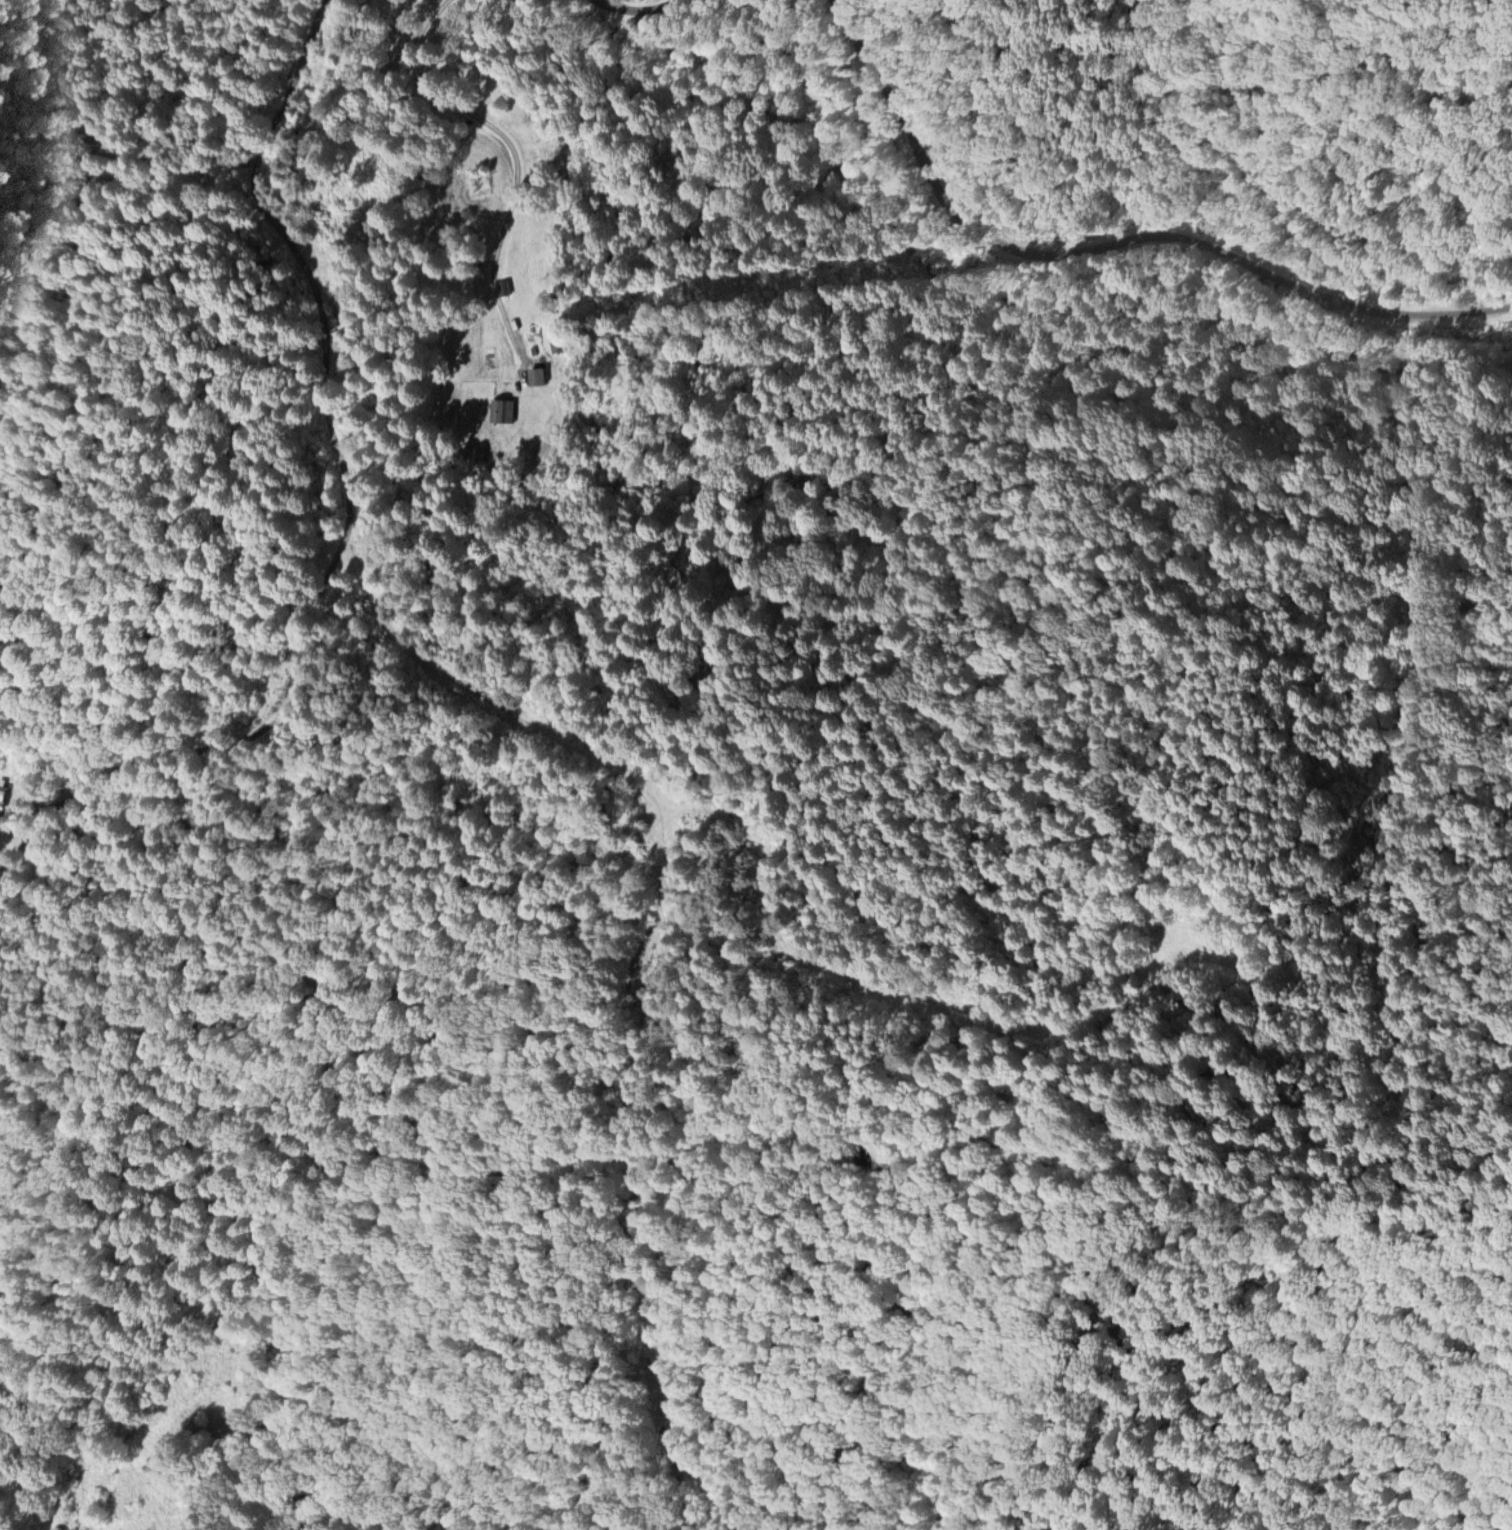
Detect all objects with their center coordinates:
road: (625, 6)
road: (519, 162)
road: (217, 180)
road: (1113, 246)
building: (505, 285)
building: (538, 373)
building: (502, 407)
road: (266, 714)
road: (632, 778)
building: (6, 798)
road: (1178, 957)

